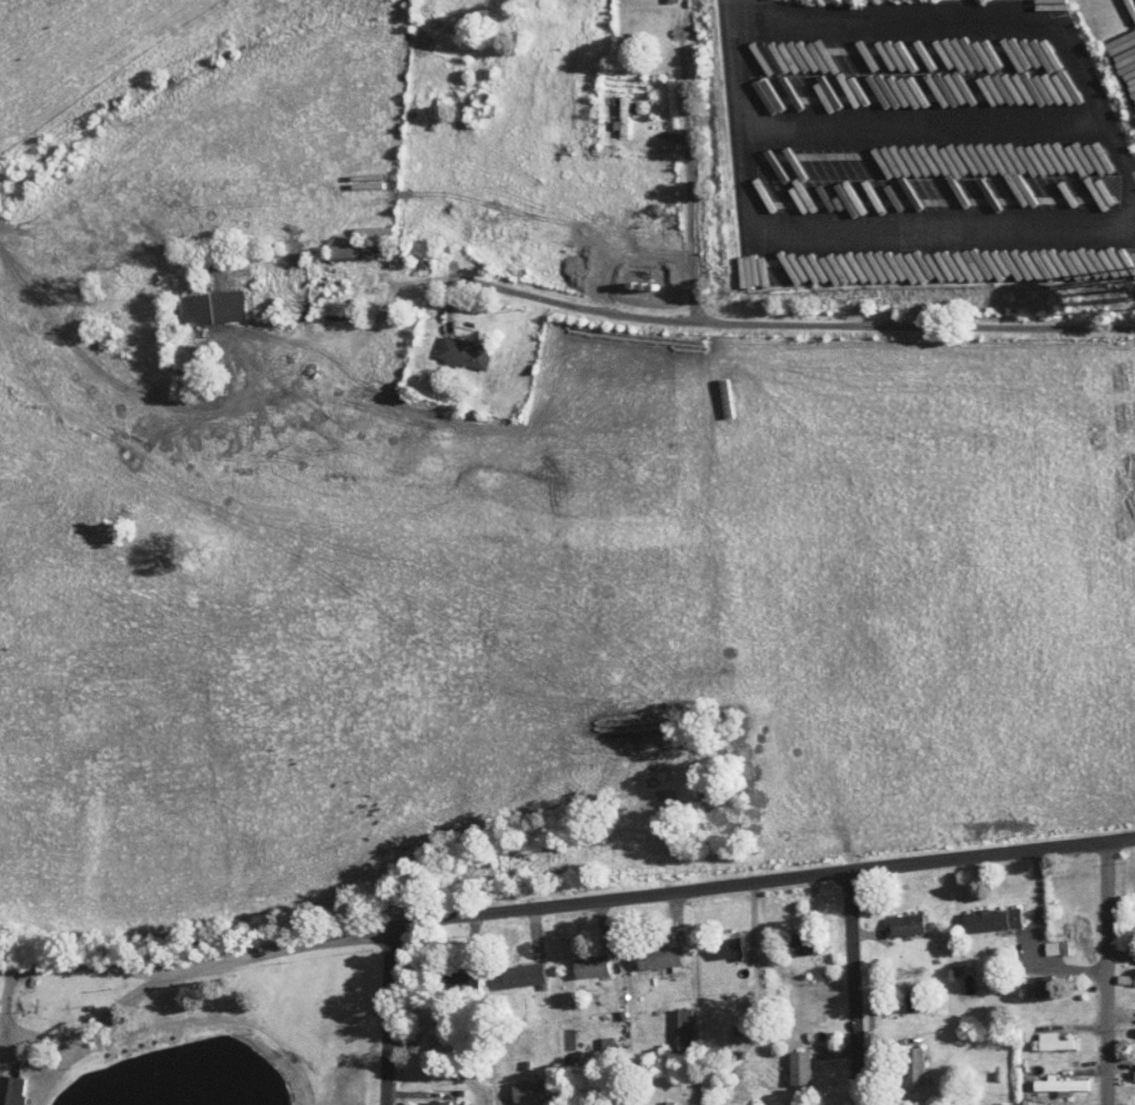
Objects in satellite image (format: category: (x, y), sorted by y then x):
road: (734, 13)
road: (685, 77)
building: (624, 113)
road: (923, 122)
road: (690, 216)
road: (1111, 224)
building: (361, 244)
building: (210, 306)
road: (453, 315)
road: (756, 325)
building: (462, 352)
road: (892, 888)
road: (803, 899)
road: (566, 905)
road: (739, 905)
road: (672, 916)
building: (991, 920)
road: (599, 921)
building: (904, 925)
road: (535, 930)
road: (474, 936)
road: (1035, 940)
building: (801, 945)
building: (727, 947)
building: (1054, 947)
building: (657, 957)
building: (589, 966)
road: (1108, 974)
building: (521, 975)
road: (1, 977)
road: (1122, 984)
building: (1038, 986)
road: (854, 987)
road: (54, 989)
road: (119, 1001)
road: (882, 1002)
road: (388, 1015)
building: (680, 1030)
road: (1099, 1036)
building: (1053, 1042)
road: (825, 1055)
building: (799, 1067)
road: (885, 1068)
road: (1102, 1075)
building: (1134, 1075)
building: (11, 1091)
road: (411, 1103)
building: (437, 1103)

